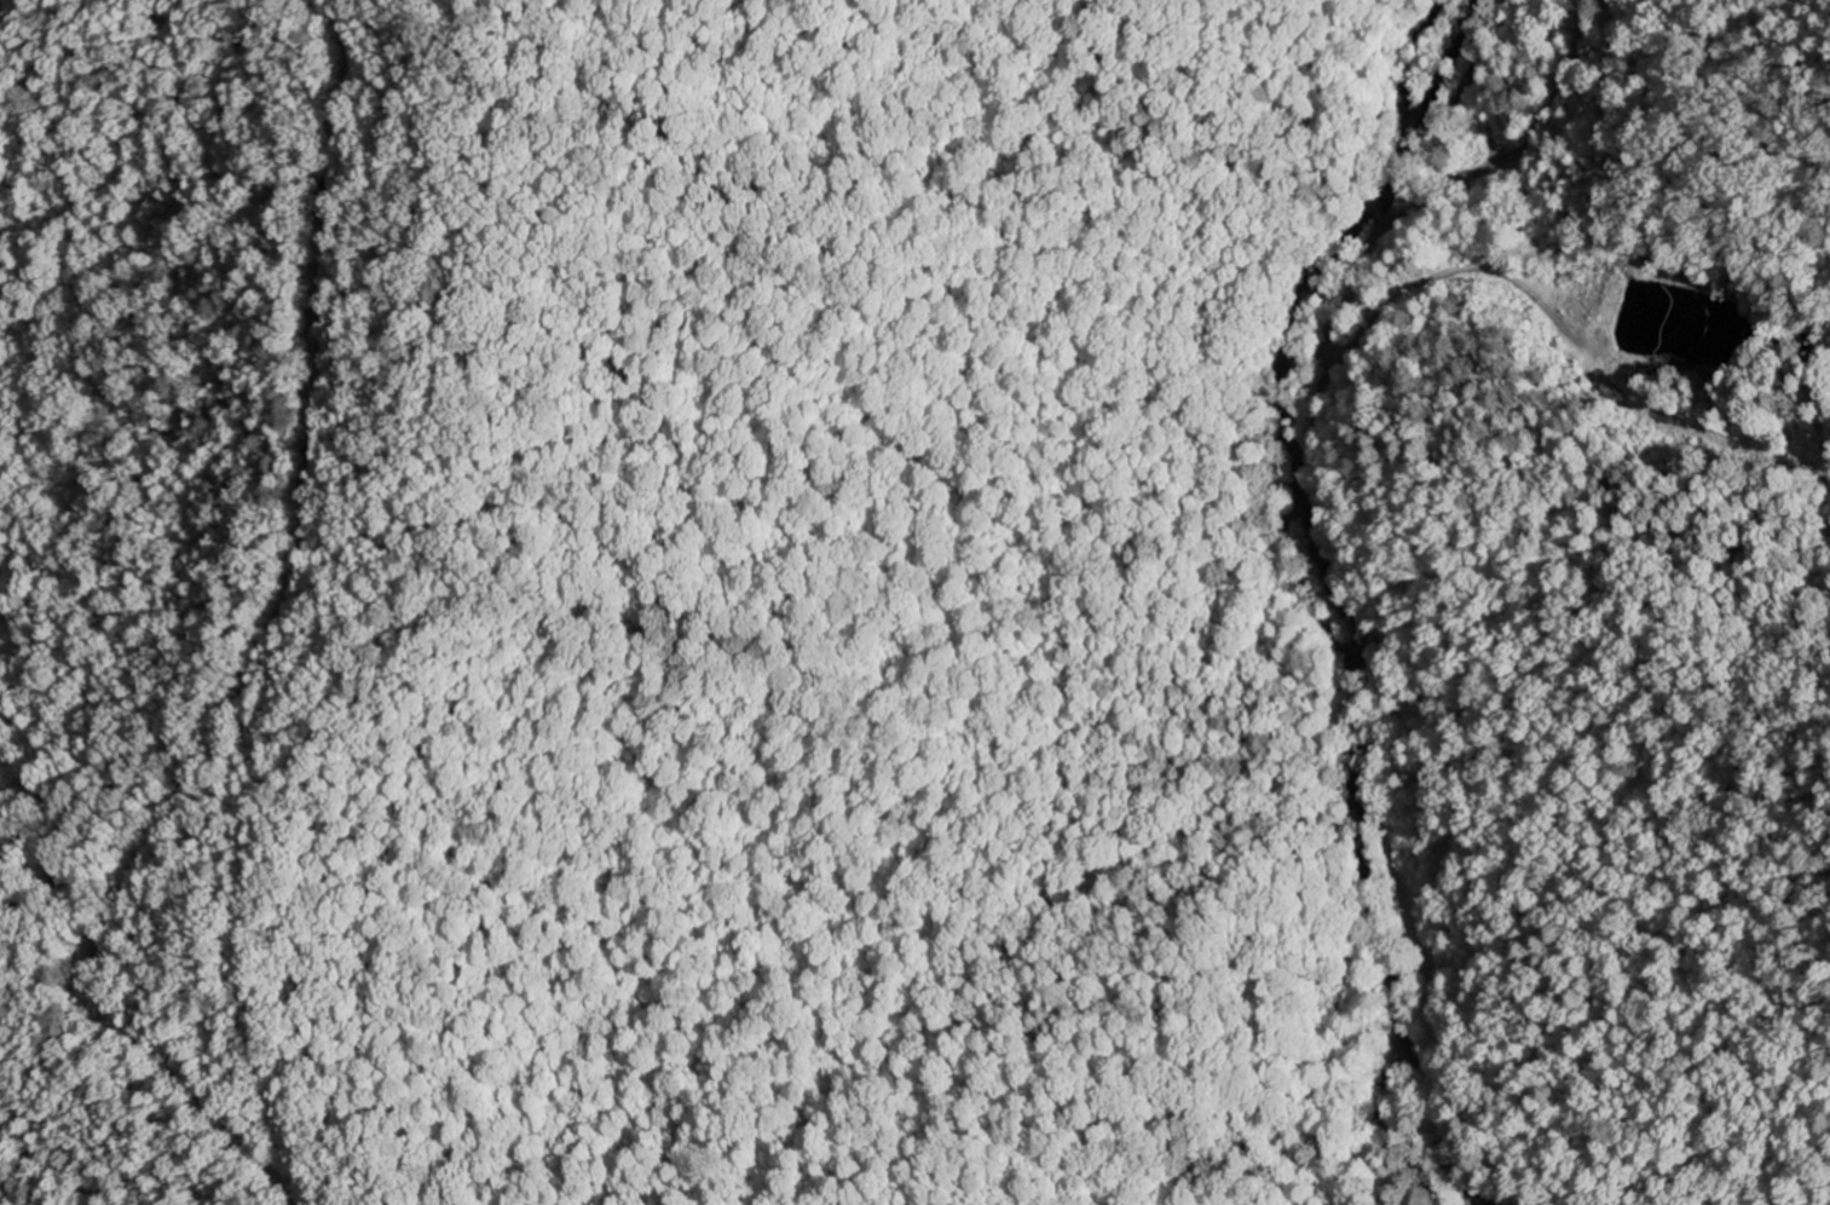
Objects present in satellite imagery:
road: (1349, 604)

